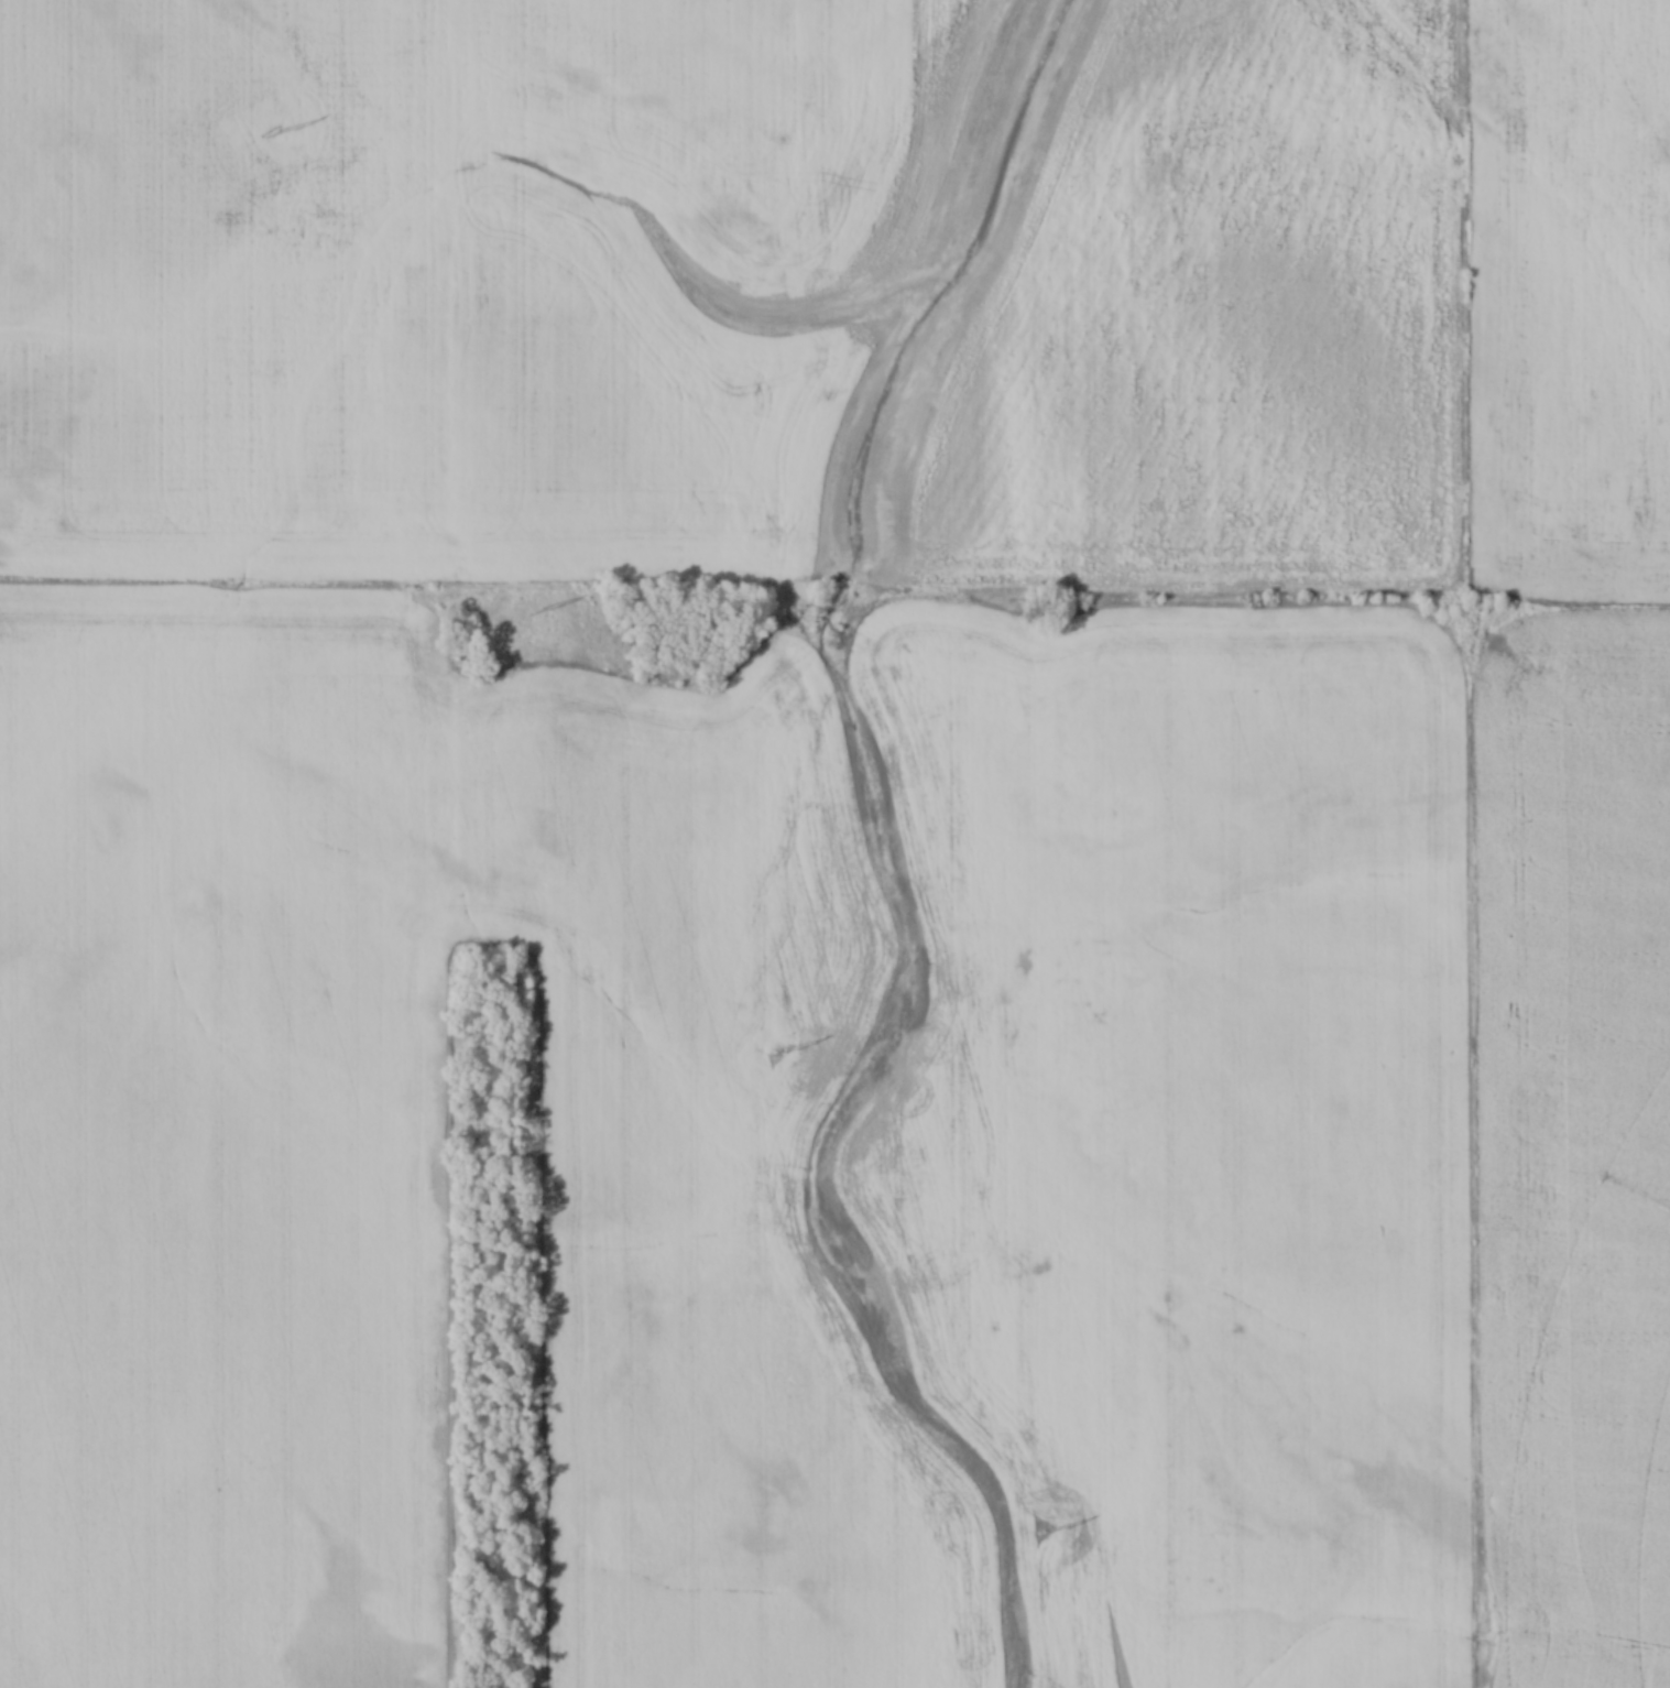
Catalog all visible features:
power tower: (269, 129)
power tower: (536, 609)
power tower: (777, 1048)
power tower: (1044, 1528)

